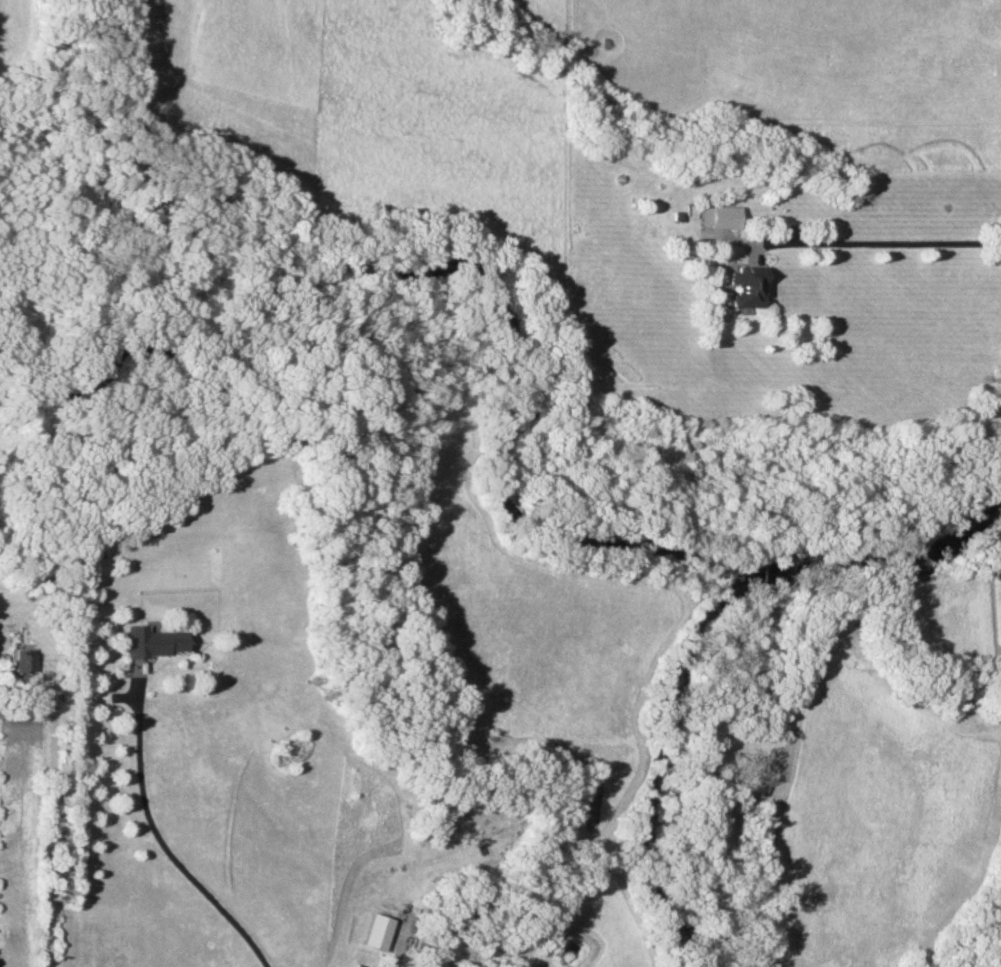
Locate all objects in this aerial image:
building: (718, 216)
road: (872, 241)
river: (471, 277)
building: (745, 287)
river: (892, 552)
building: (151, 641)
building: (20, 662)
road: (52, 827)
road: (160, 842)
building: (378, 931)

